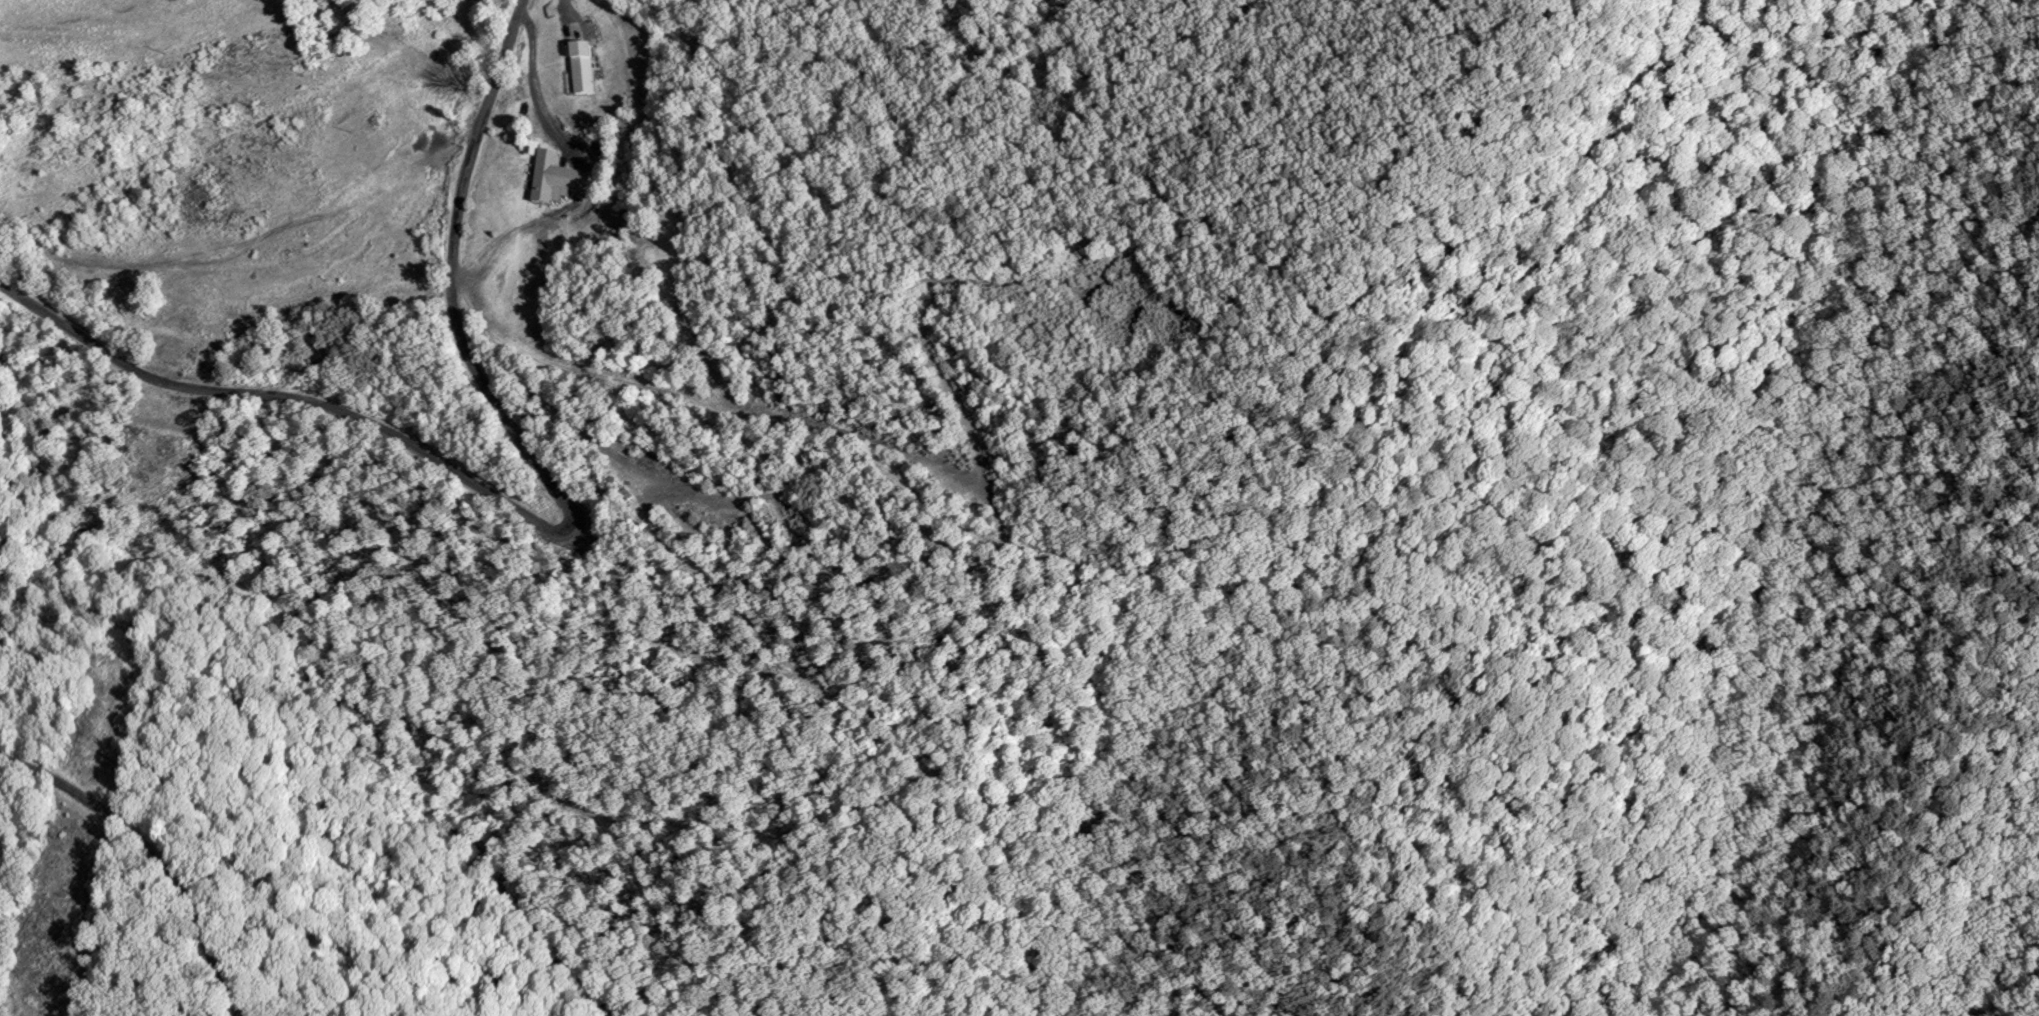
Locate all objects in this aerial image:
building: (577, 36)
building: (582, 71)
building: (555, 180)
road: (540, 530)
road: (149, 860)

